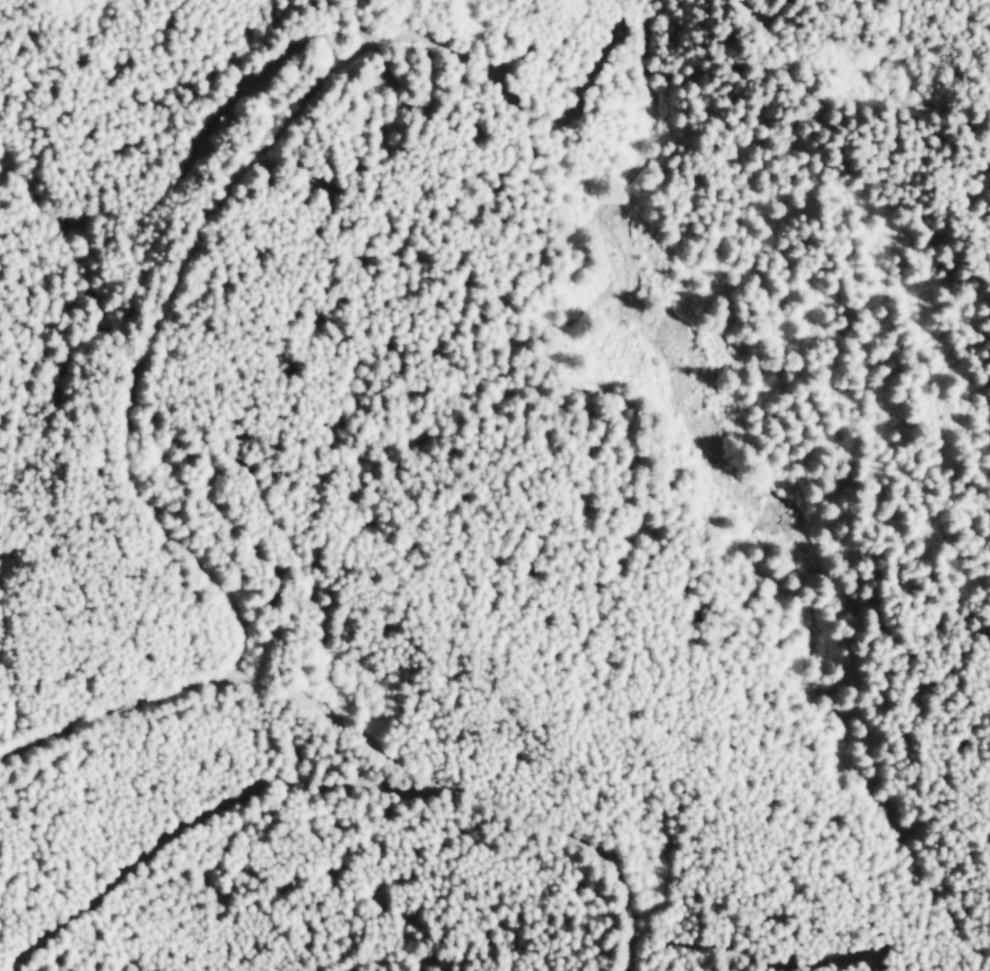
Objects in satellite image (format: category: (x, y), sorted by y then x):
road: (933, 100)
road: (143, 348)
road: (447, 781)

